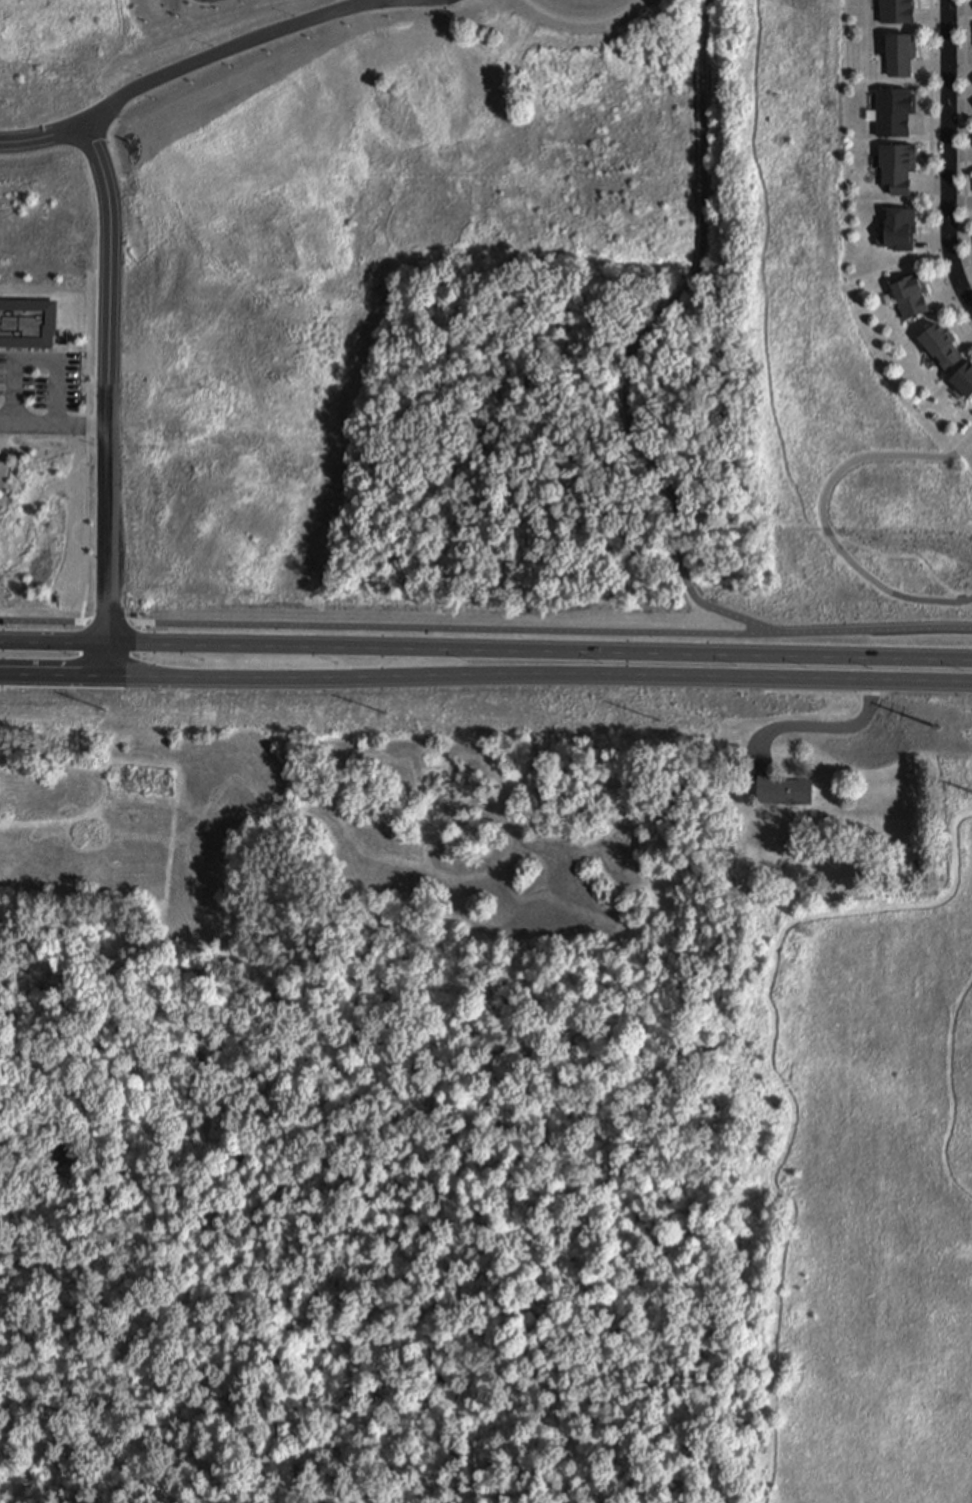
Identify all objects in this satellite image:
parking lot: (205, 1)
road: (944, 8)
building: (897, 11)
road: (581, 22)
building: (900, 53)
road: (960, 55)
road: (202, 60)
road: (932, 64)
road: (960, 102)
building: (895, 111)
road: (929, 122)
road: (965, 135)
road: (949, 152)
road: (960, 152)
building: (899, 166)
road: (931, 171)
road: (931, 181)
road: (960, 200)
building: (900, 227)
road: (931, 238)
road: (963, 258)
road: (763, 277)
road: (945, 293)
building: (911, 294)
building: (28, 323)
road: (964, 339)
road: (640, 341)
building: (938, 342)
road: (2, 350)
road: (39, 362)
building: (963, 377)
parking lot: (40, 382)
road: (107, 396)
road: (9, 398)
road: (43, 413)
road: (53, 425)
road: (88, 447)
road: (821, 511)
road: (906, 557)
road: (53, 623)
road: (441, 626)
road: (873, 631)
road: (143, 648)
road: (485, 650)
road: (301, 677)
road: (787, 679)
power tower: (101, 701)
power tower: (386, 712)
power tower: (661, 722)
road: (823, 723)
power tower: (937, 727)
building: (784, 792)
power tower: (970, 792)
road: (961, 813)
road: (952, 1092)
road: (787, 1094)
building: (63, 1152)

